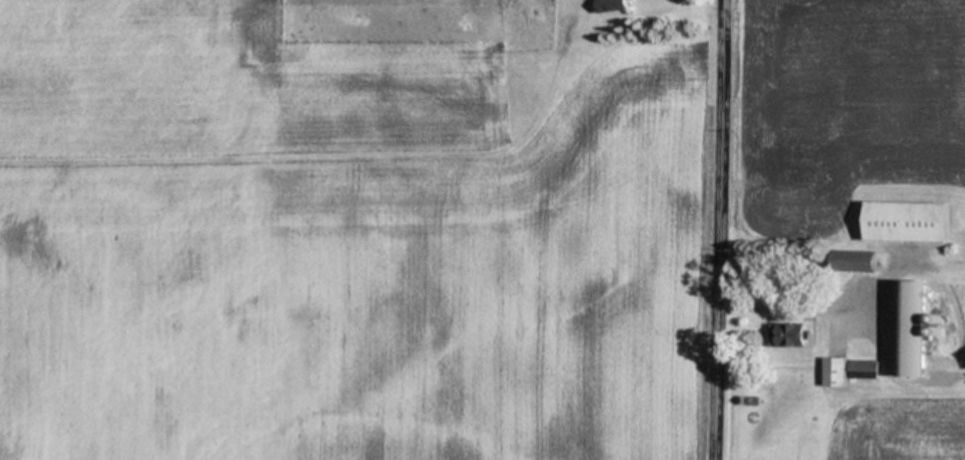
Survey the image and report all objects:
building: (610, 6)
building: (907, 223)
road: (718, 229)
building: (852, 262)
building: (910, 331)
building: (789, 336)
building: (861, 371)
building: (834, 373)

